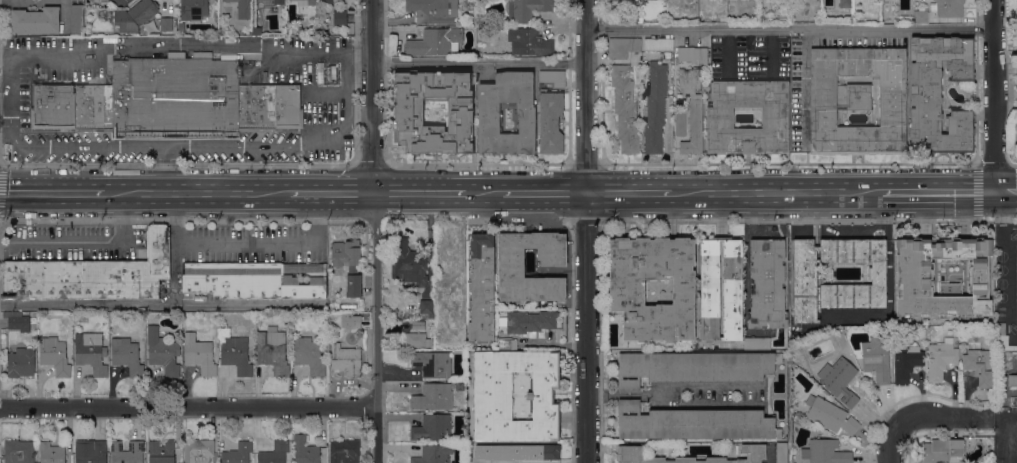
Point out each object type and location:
building: (892, 0)
building: (329, 1)
building: (121, 2)
building: (279, 2)
building: (306, 2)
building: (846, 3)
building: (947, 8)
building: (193, 9)
building: (242, 9)
building: (526, 9)
building: (433, 10)
building: (134, 15)
building: (339, 16)
building: (920, 16)
building: (77, 19)
building: (35, 21)
building: (166, 24)
building: (180, 26)
road: (789, 28)
building: (257, 31)
building: (435, 42)
building: (528, 42)
building: (658, 44)
road: (229, 45)
building: (622, 46)
road: (358, 53)
road: (4, 55)
building: (692, 55)
road: (477, 62)
building: (552, 77)
road: (806, 83)
building: (939, 94)
road: (372, 96)
road: (993, 96)
parking lot: (181, 97)
building: (857, 100)
building: (168, 102)
building: (655, 107)
building: (624, 108)
building: (692, 109)
building: (488, 111)
building: (408, 114)
building: (719, 117)
building: (550, 122)
road: (47, 145)
road: (240, 145)
road: (788, 162)
road: (479, 163)
road: (178, 164)
road: (372, 164)
road: (584, 164)
road: (167, 169)
road: (51, 192)
road: (196, 192)
road: (330, 192)
road: (1005, 192)
road: (418, 193)
road: (628, 193)
road: (776, 193)
road: (938, 193)
road: (483, 194)
road: (543, 194)
road: (122, 216)
road: (182, 219)
road: (585, 231)
road: (60, 241)
parking lot: (79, 241)
road: (272, 243)
building: (409, 262)
building: (511, 270)
building: (353, 271)
road: (557, 272)
building: (90, 274)
building: (913, 274)
building: (254, 280)
building: (804, 282)
building: (767, 284)
building: (481, 288)
building: (732, 288)
building: (626, 291)
road: (138, 302)
road: (239, 302)
building: (427, 307)
building: (187, 319)
building: (17, 321)
building: (353, 322)
building: (530, 322)
building: (418, 325)
road: (376, 327)
building: (289, 333)
building: (417, 339)
building: (505, 342)
building: (757, 343)
road: (551, 344)
building: (273, 350)
building: (91, 352)
building: (163, 352)
building: (199, 354)
building: (236, 354)
building: (55, 355)
building: (127, 355)
building: (308, 355)
building: (876, 358)
building: (940, 358)
building: (345, 359)
building: (905, 359)
building: (20, 362)
building: (433, 363)
building: (979, 365)
building: (693, 367)
building: (839, 380)
building: (1012, 381)
building: (460, 386)
road: (672, 388)
building: (432, 396)
building: (492, 397)
road: (701, 404)
road: (188, 405)
building: (461, 407)
building: (830, 415)
road: (939, 417)
building: (694, 423)
building: (432, 428)
road: (1014, 441)
road: (893, 444)
building: (305, 450)
building: (18, 451)
building: (90, 451)
building: (198, 451)
building: (344, 451)
building: (517, 451)
building: (943, 451)
building: (127, 452)
building: (161, 452)
building: (827, 452)
building: (51, 453)
building: (237, 453)
building: (275, 453)
building: (781, 453)
building: (433, 454)
building: (630, 454)
road: (769, 455)
building: (215, 461)

